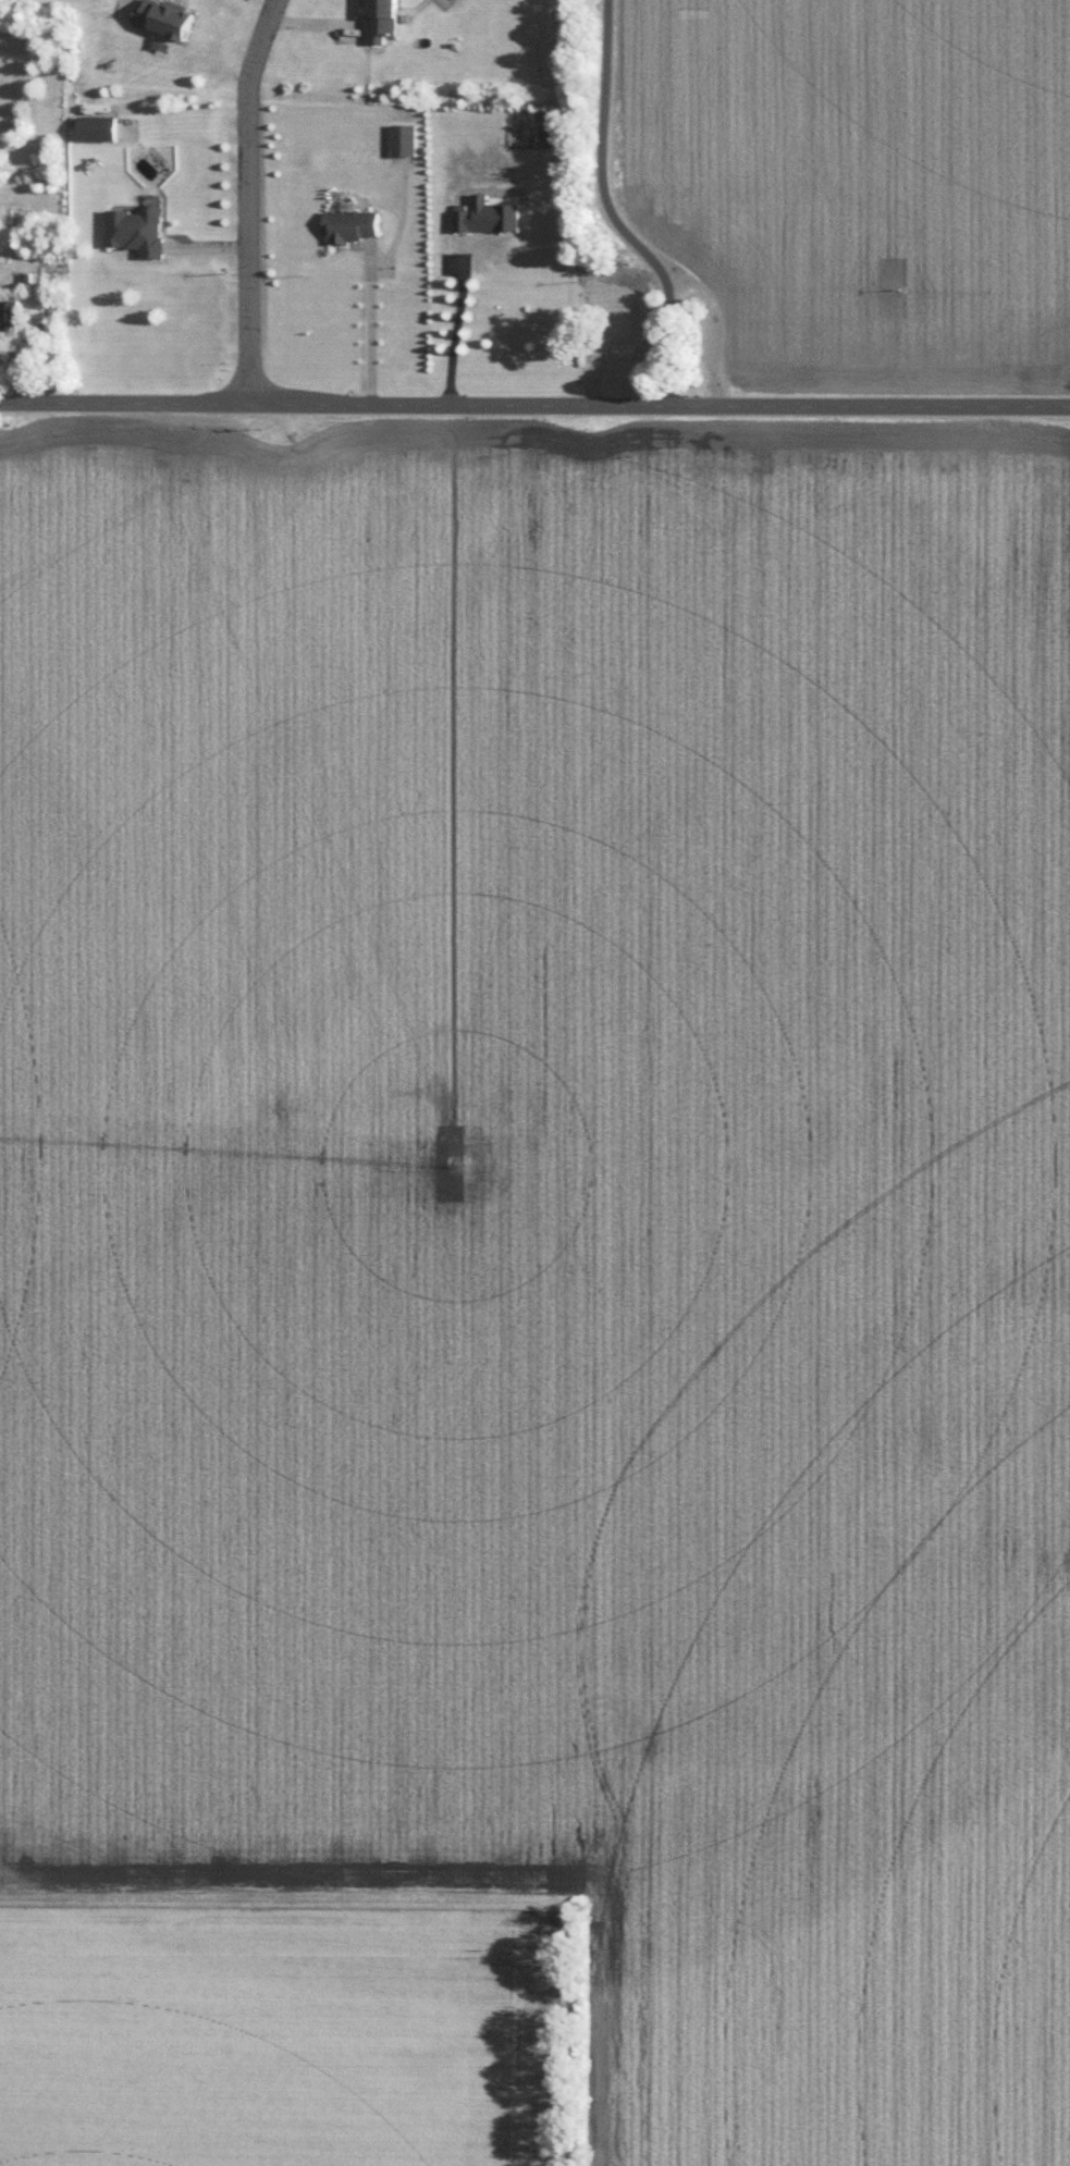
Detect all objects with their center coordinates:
building: (164, 16)
building: (381, 20)
building: (97, 126)
building: (403, 138)
crop: (862, 182)
road: (248, 198)
building: (487, 214)
road: (612, 221)
building: (350, 223)
building: (137, 229)
building: (26, 274)
building: (10, 308)
road: (452, 321)
road: (367, 328)
road: (534, 403)
crop: (323, 1171)
crop: (857, 1312)
crop: (315, 2041)

